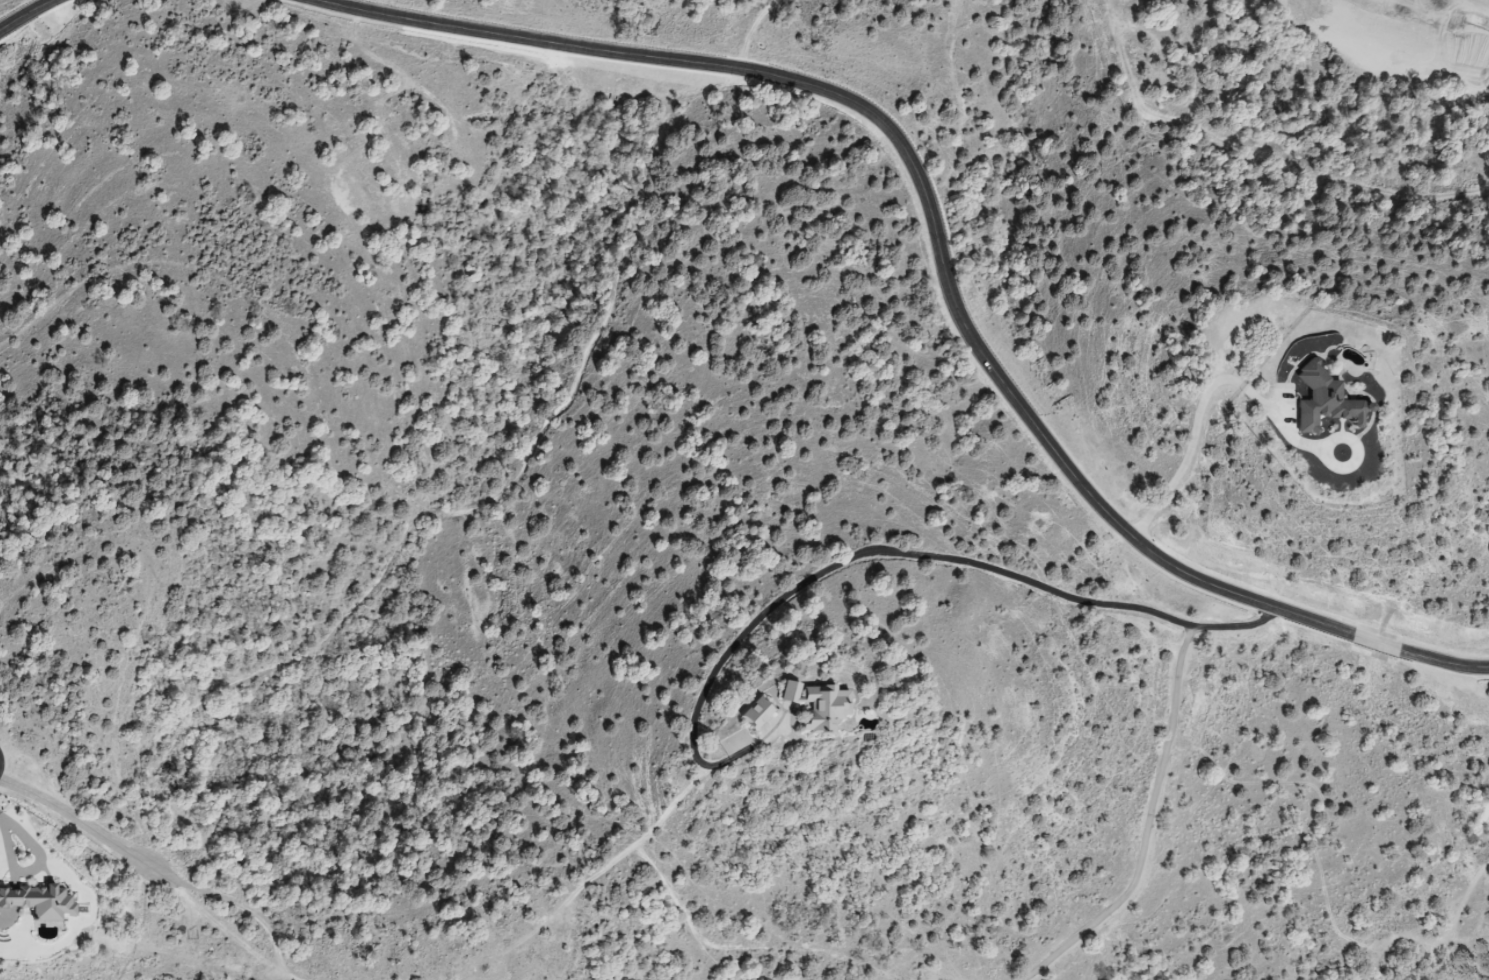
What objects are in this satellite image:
road: (15, 10)
road: (945, 260)
road: (1214, 396)
building: (1328, 401)
road: (854, 556)
building: (814, 705)
building: (752, 713)
road: (1159, 786)

